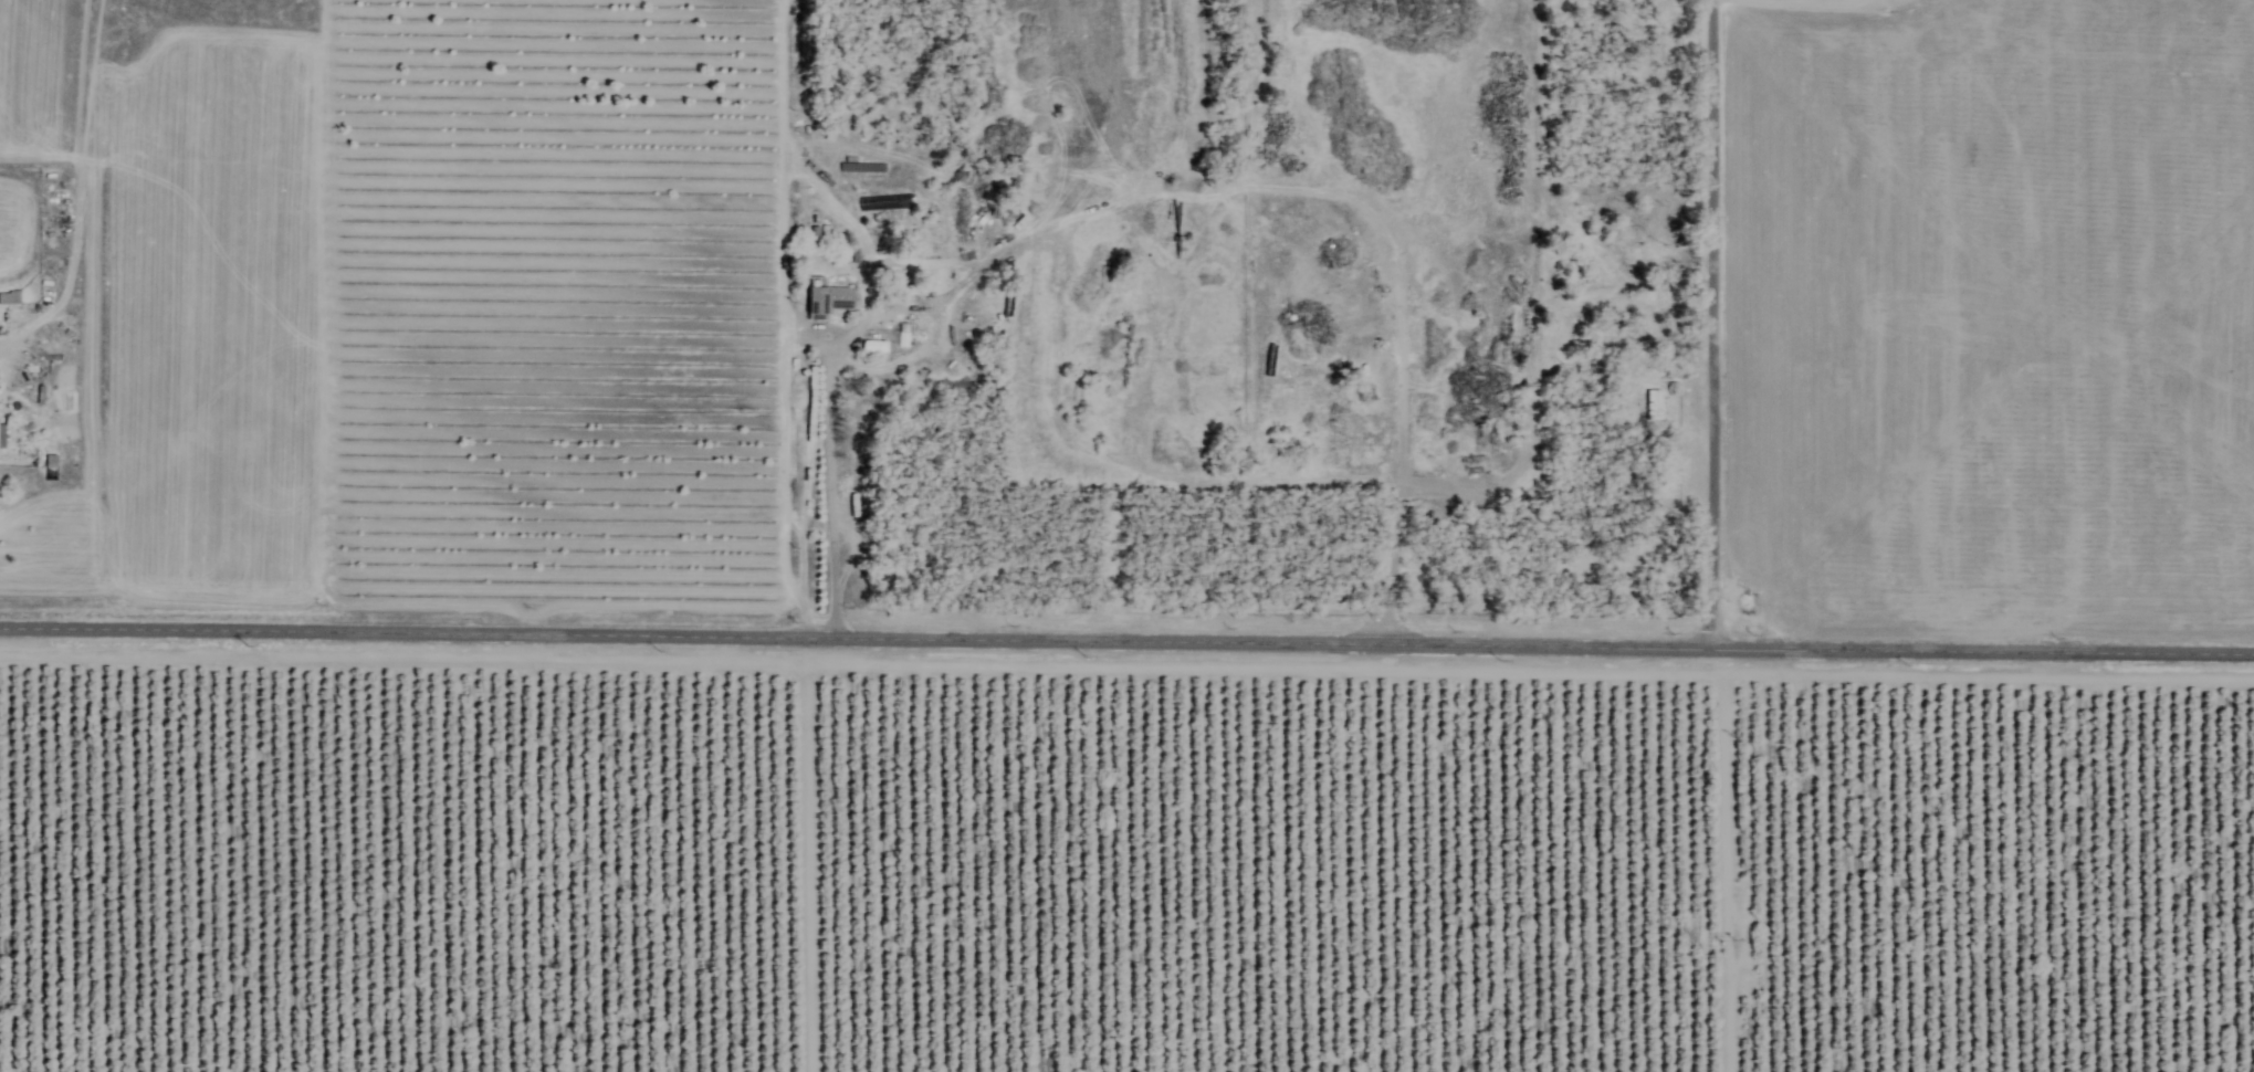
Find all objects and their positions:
building: (8, 298)
building: (825, 301)
road: (1710, 323)
building: (1653, 406)
building: (1, 438)
road: (830, 469)
road: (1126, 638)
crop: (1346, 717)

